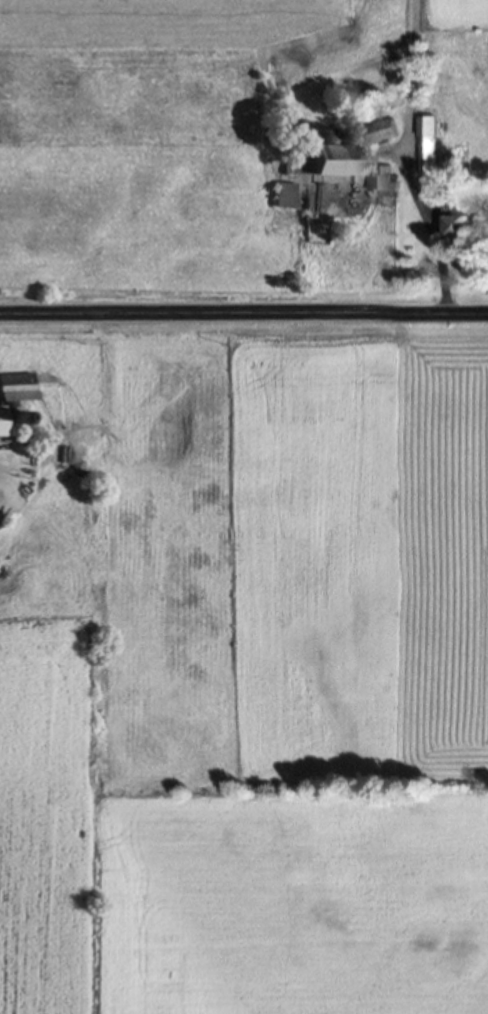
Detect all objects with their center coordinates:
building: (380, 132)
building: (430, 145)
building: (333, 161)
building: (385, 183)
building: (284, 196)
building: (459, 226)
road: (244, 318)
building: (17, 389)

